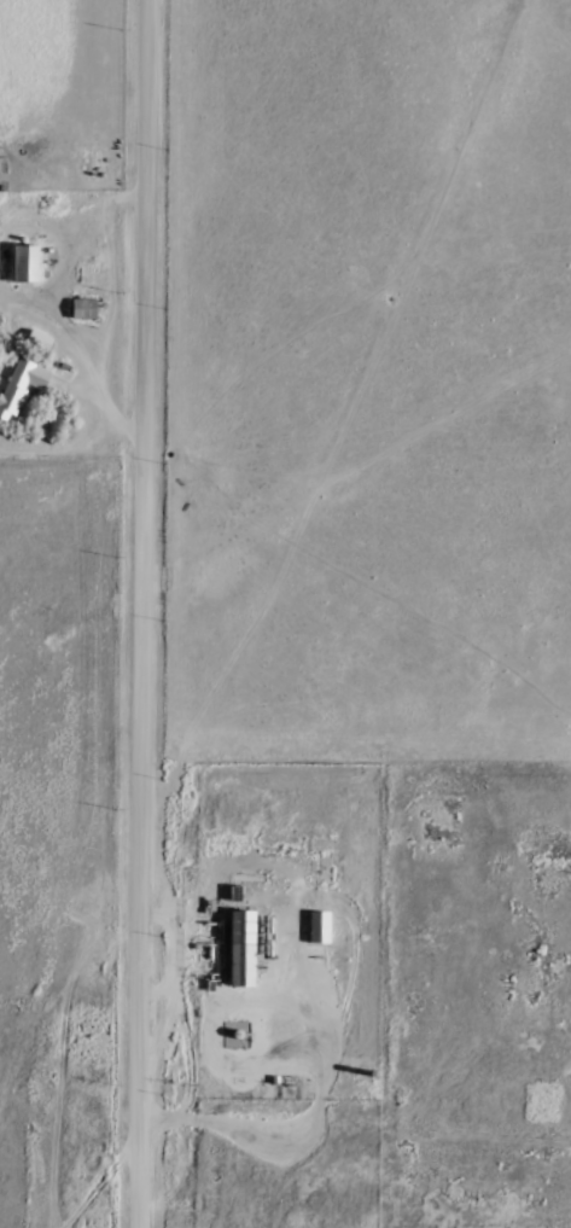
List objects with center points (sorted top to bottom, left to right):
building: (18, 384)
road: (145, 613)
building: (315, 926)

